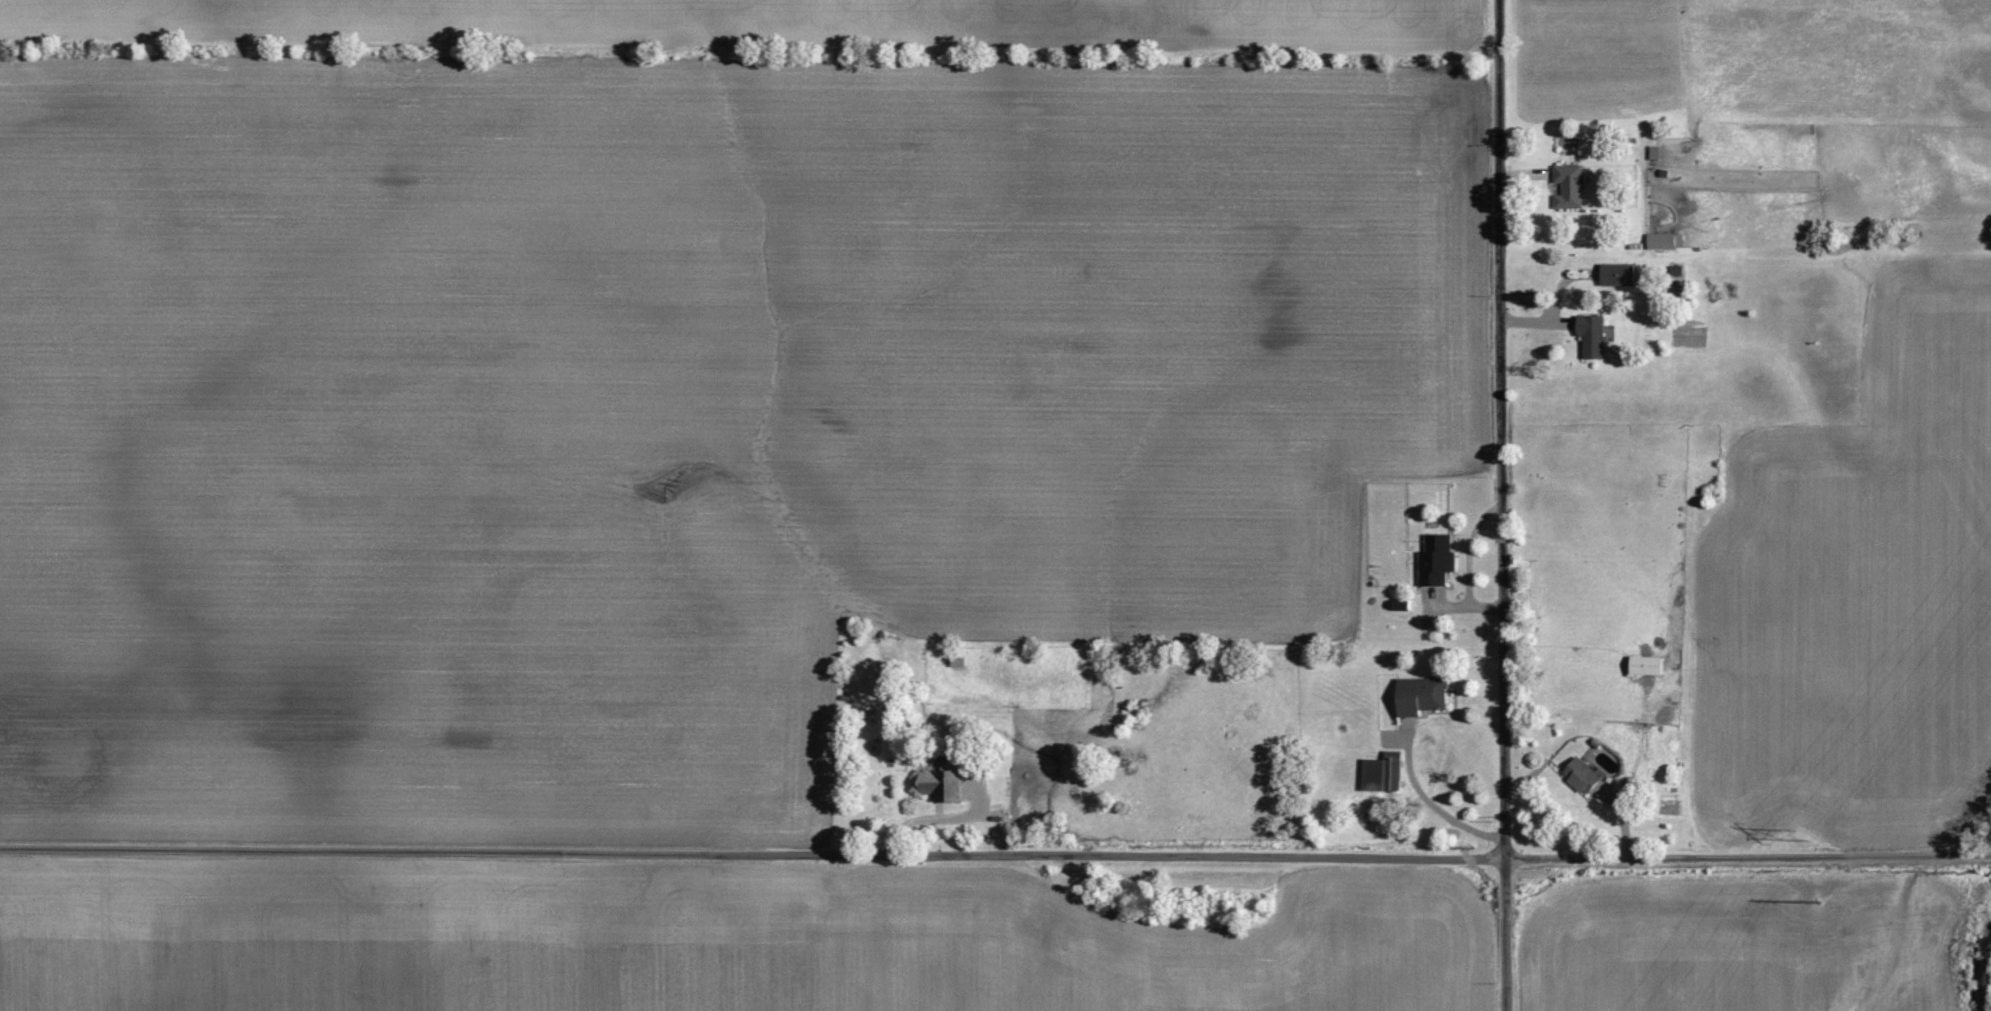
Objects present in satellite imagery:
building: (1657, 151)
building: (1572, 185)
building: (1664, 241)
building: (1612, 273)
building: (1594, 335)
road: (1502, 505)
building: (1439, 566)
building: (1650, 665)
building: (1424, 695)
building: (1383, 774)
building: (1586, 777)
road: (1429, 803)
power tower: (1803, 831)
road: (995, 854)

